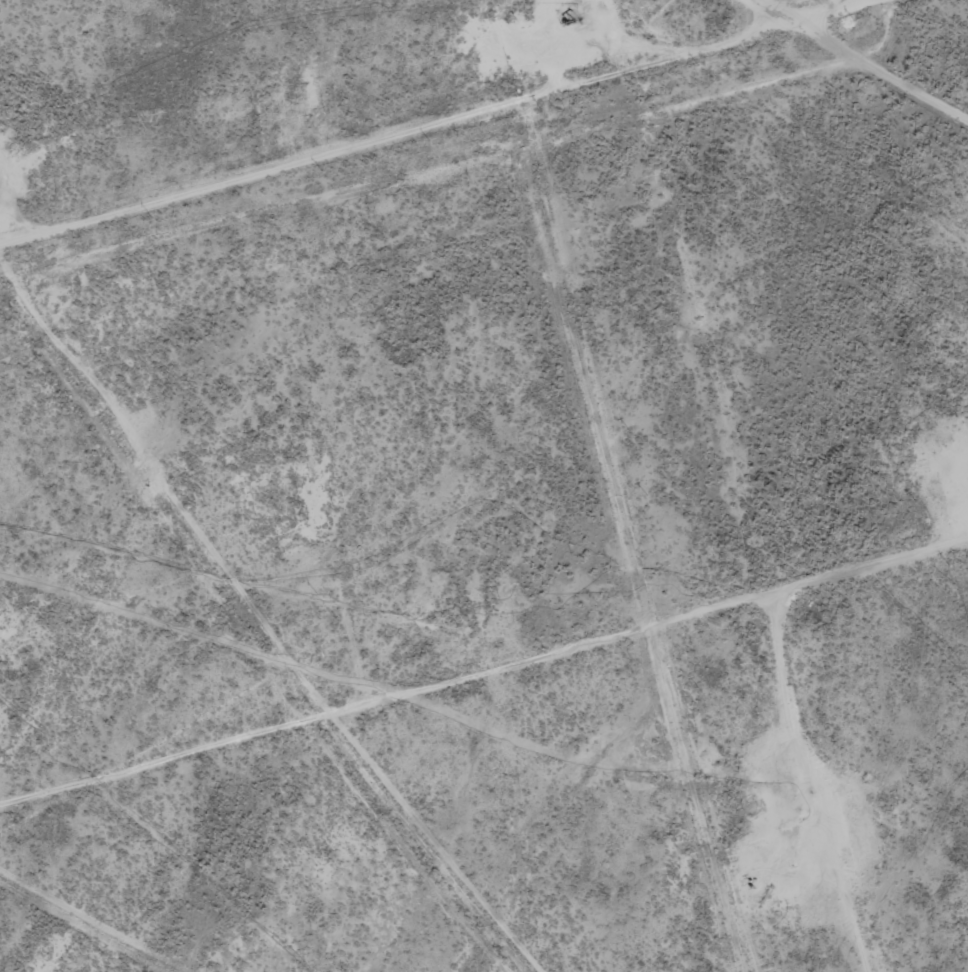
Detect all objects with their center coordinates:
road: (864, 59)
road: (437, 117)

